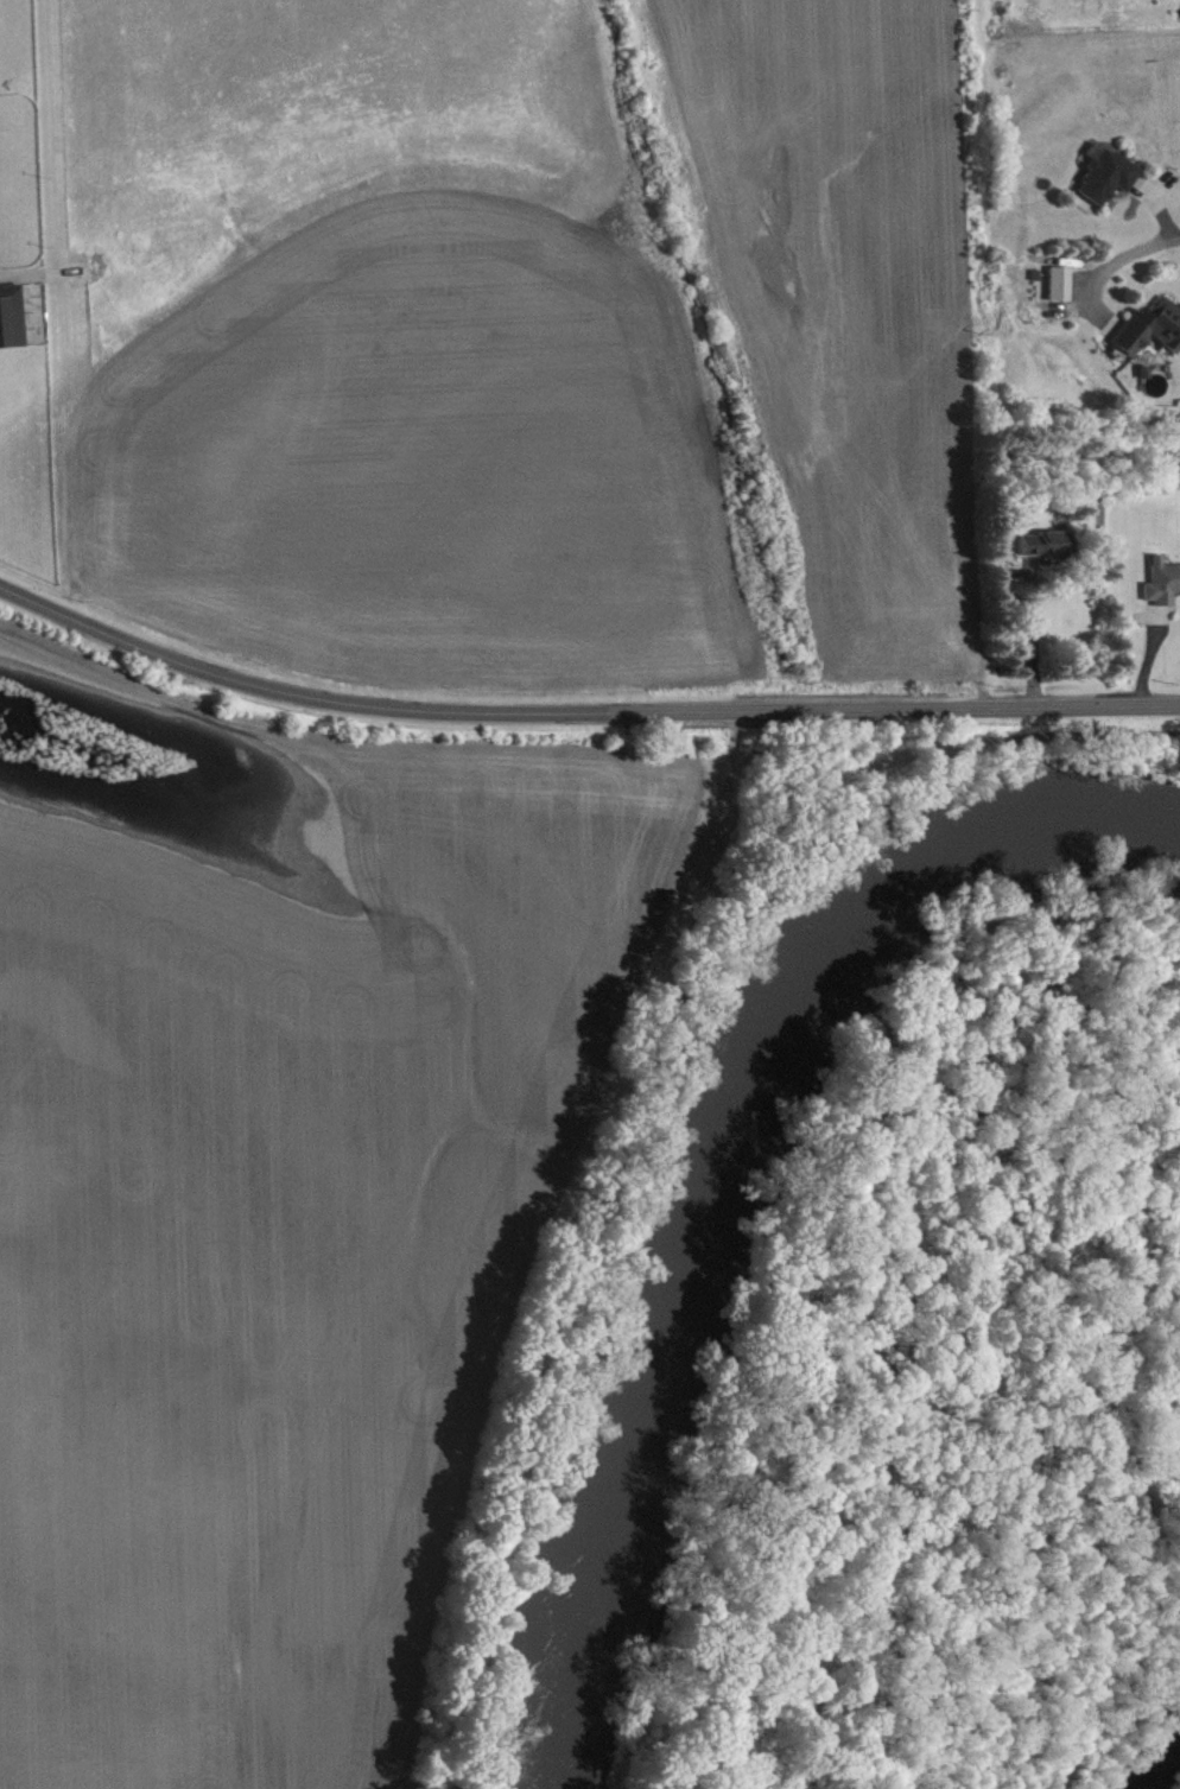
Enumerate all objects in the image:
building: (1108, 183)
road: (1114, 265)
building: (1062, 292)
building: (12, 325)
building: (1152, 337)
building: (1046, 553)
building: (1163, 591)
road: (1028, 640)
road: (578, 717)
road: (640, 1058)
river: (711, 1163)

